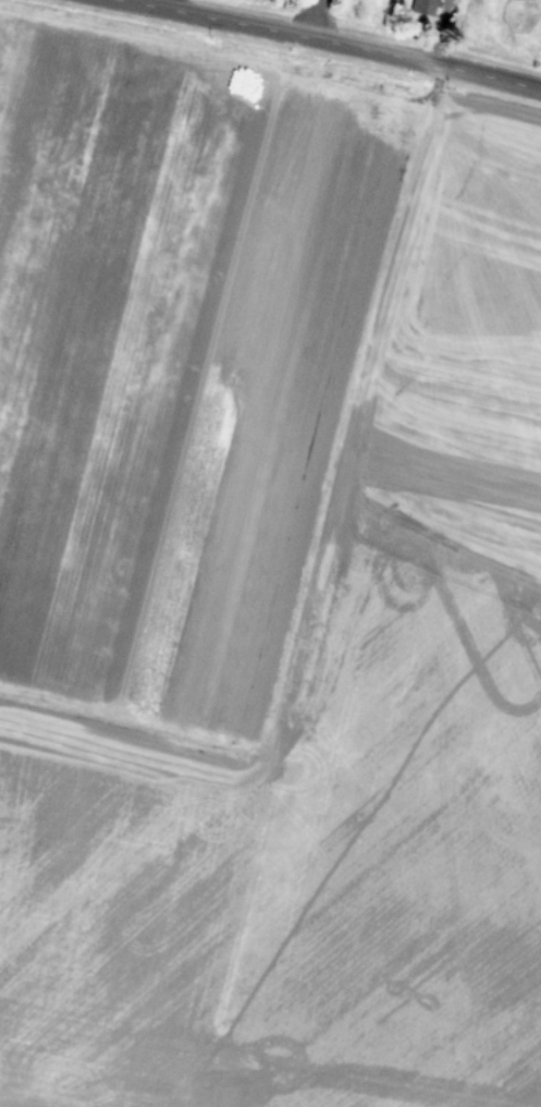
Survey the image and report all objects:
road: (164, 3)
building: (422, 7)
road: (306, 17)
crop: (440, 23)
road: (335, 41)
crop: (265, 575)

